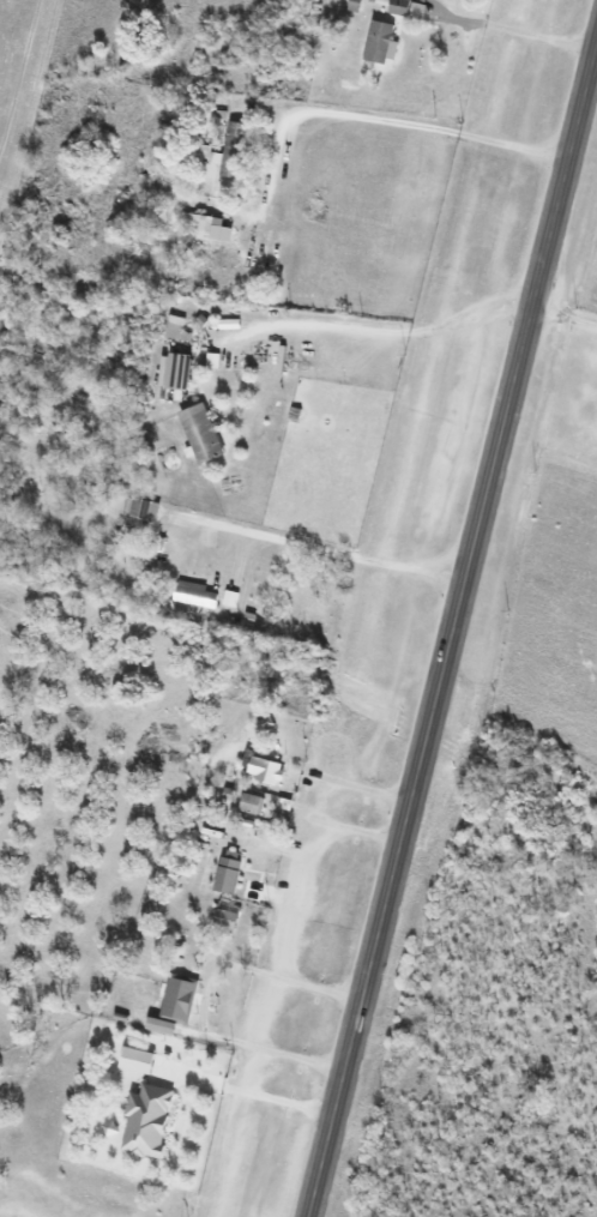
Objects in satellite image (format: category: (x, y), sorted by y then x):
building: (404, 7)
road: (521, 34)
building: (385, 42)
road: (379, 114)
building: (237, 150)
building: (215, 230)
road: (566, 318)
road: (392, 326)
building: (179, 330)
building: (177, 373)
building: (205, 434)
building: (147, 510)
road: (328, 550)
building: (197, 595)
road: (452, 638)
building: (269, 771)
road: (355, 787)
building: (228, 800)
building: (253, 805)
road: (306, 862)
building: (231, 874)
building: (230, 917)
road: (294, 980)
building: (181, 1001)
building: (165, 1028)
road: (239, 1044)
building: (140, 1061)
road: (249, 1092)
building: (151, 1122)

